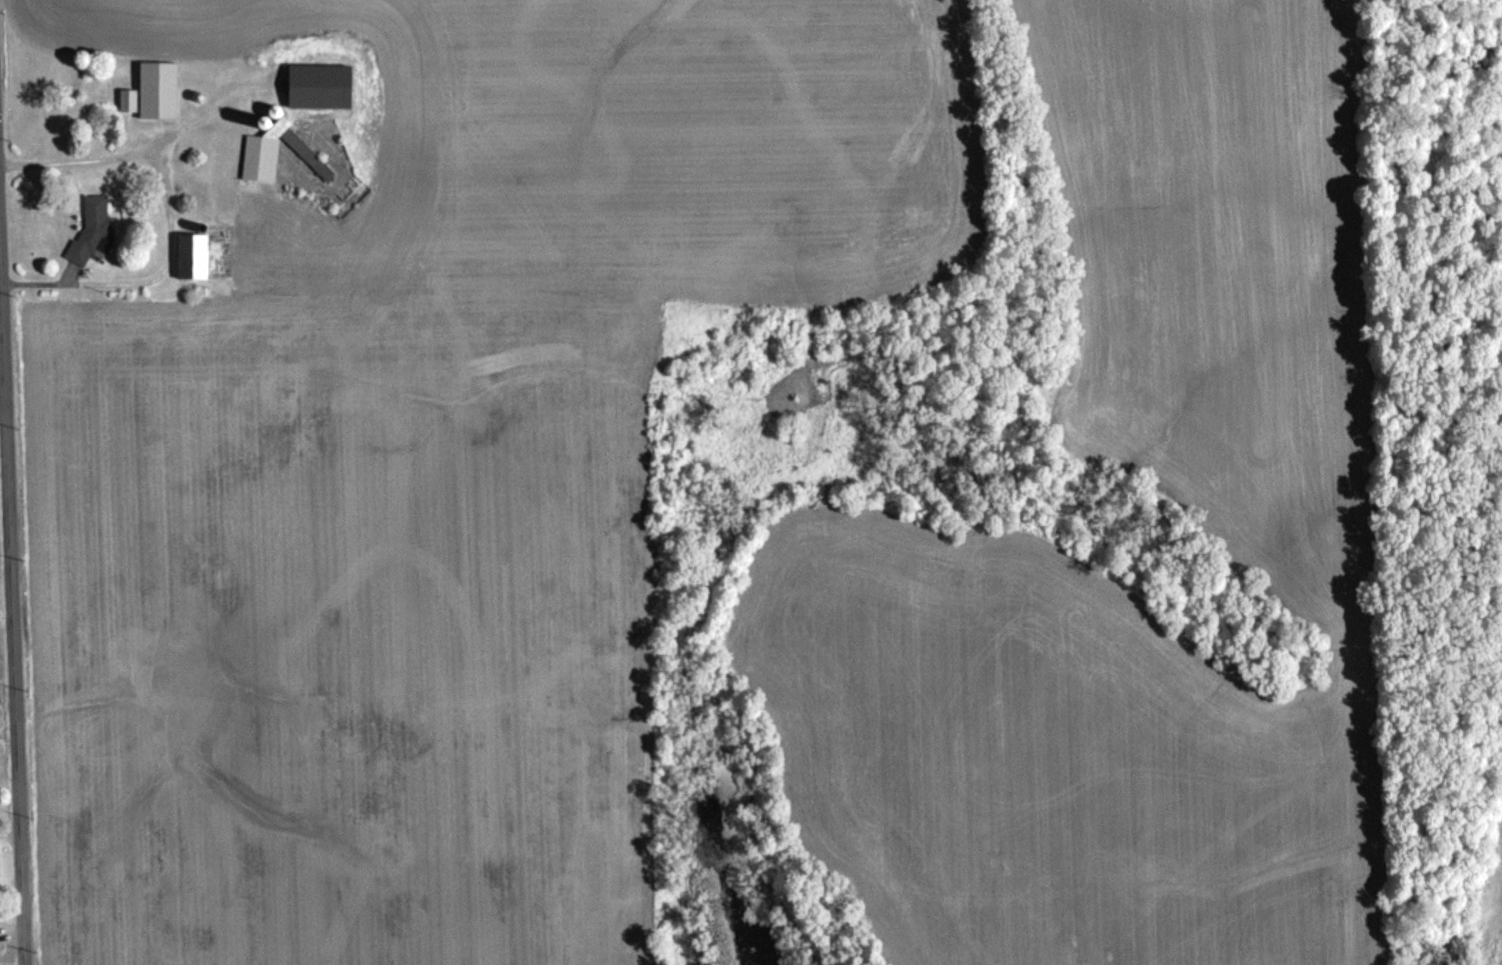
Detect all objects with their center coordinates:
building: (158, 90)
building: (277, 114)
road: (125, 154)
building: (324, 171)
building: (91, 230)
building: (194, 256)
road: (151, 279)
road: (14, 706)

